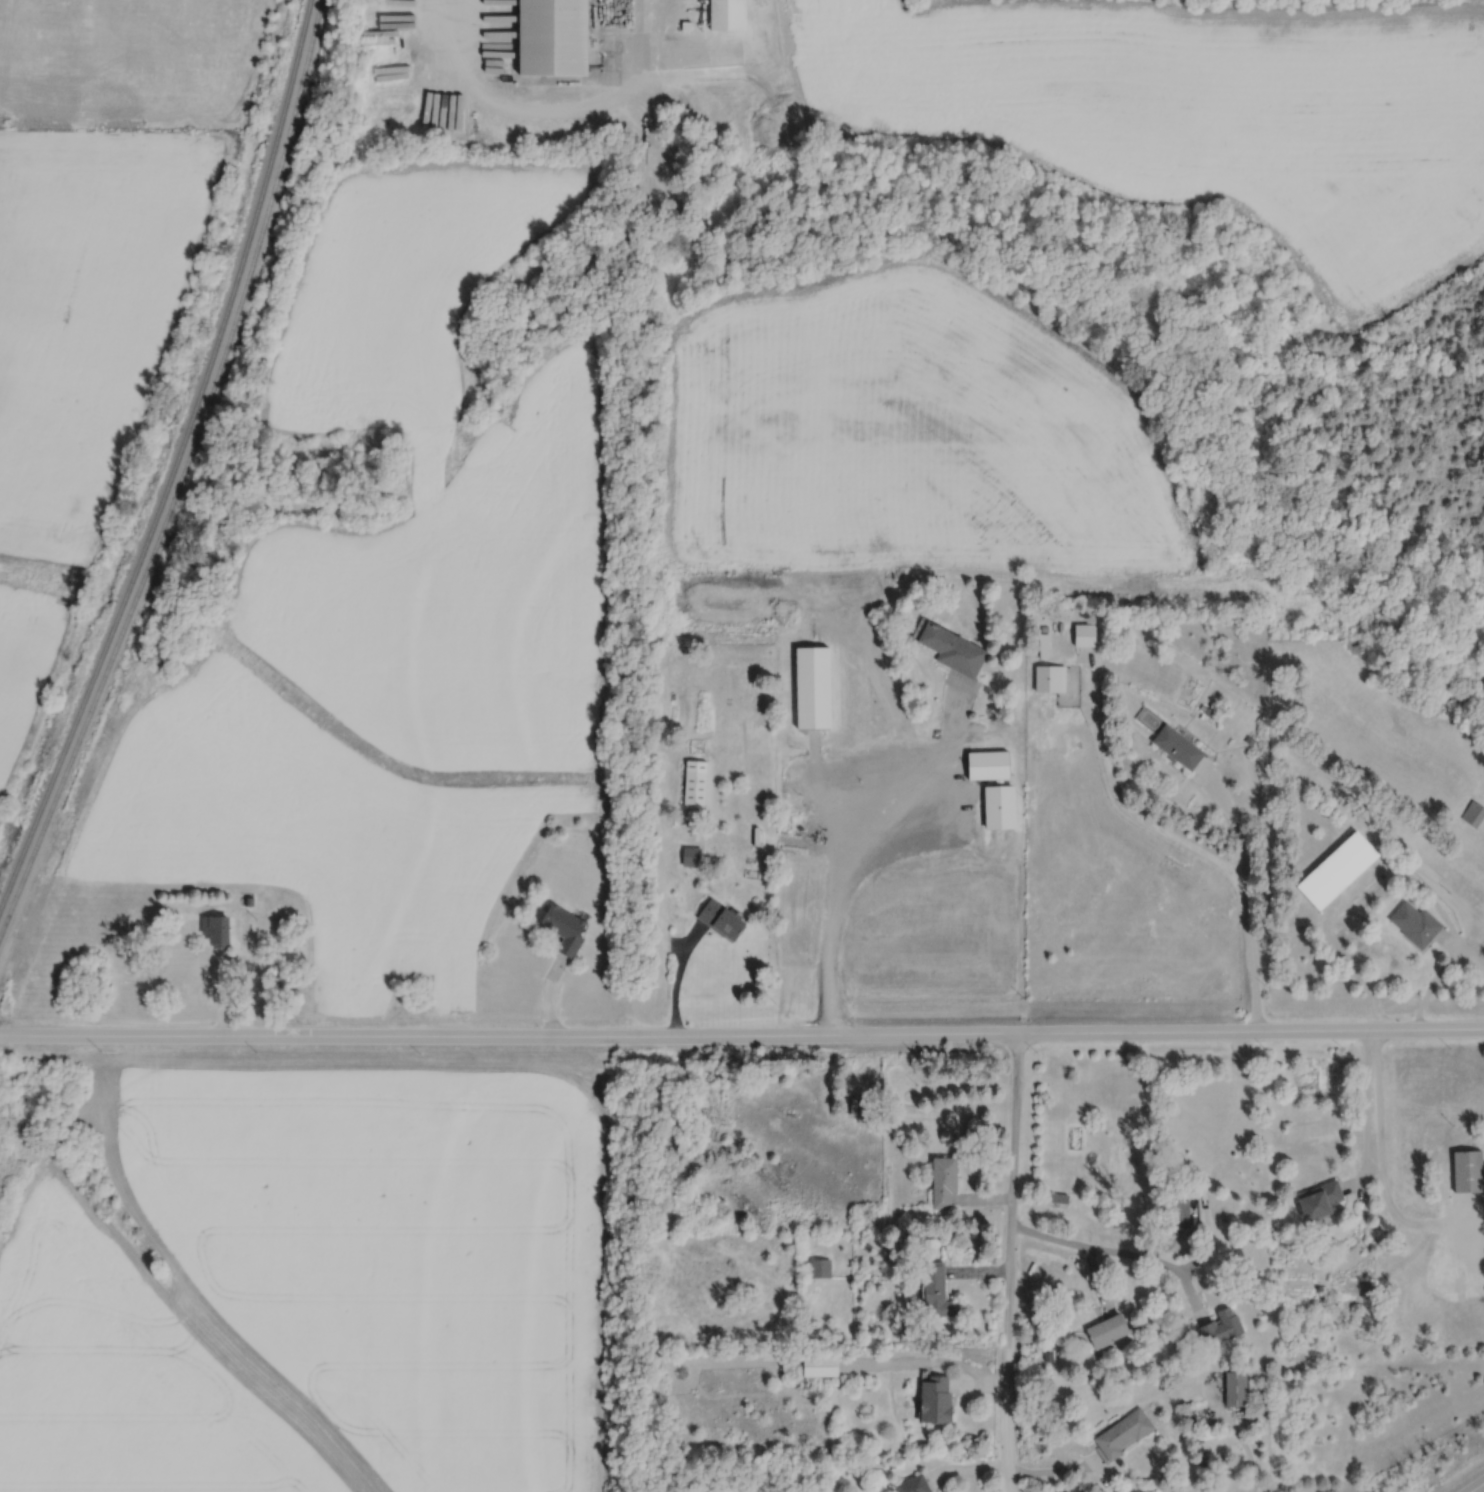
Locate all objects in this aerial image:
building: (549, 38)
road: (633, 44)
railway: (178, 460)
railway: (182, 473)
building: (1042, 646)
building: (950, 649)
building: (810, 687)
building: (1175, 746)
building: (985, 764)
building: (694, 781)
road: (1123, 804)
building: (996, 807)
building: (1473, 813)
road: (862, 847)
building: (691, 853)
building: (1334, 869)
road: (1247, 902)
building: (718, 919)
building: (1413, 923)
building: (561, 928)
building: (212, 930)
road: (1466, 966)
road: (677, 979)
road: (741, 1039)
building: (852, 1104)
road: (1367, 1122)
building: (1466, 1171)
road: (1384, 1173)
building: (941, 1181)
building: (1054, 1197)
building: (1317, 1200)
building: (1177, 1213)
road: (1006, 1254)
road: (1117, 1256)
building: (934, 1291)
building: (1219, 1327)
building: (1105, 1330)
building: (817, 1365)
road: (921, 1368)
building: (1233, 1389)
building: (932, 1399)
building: (1121, 1433)
road: (1239, 1440)
road: (1005, 1481)
building: (911, 1485)
road: (1478, 1488)

